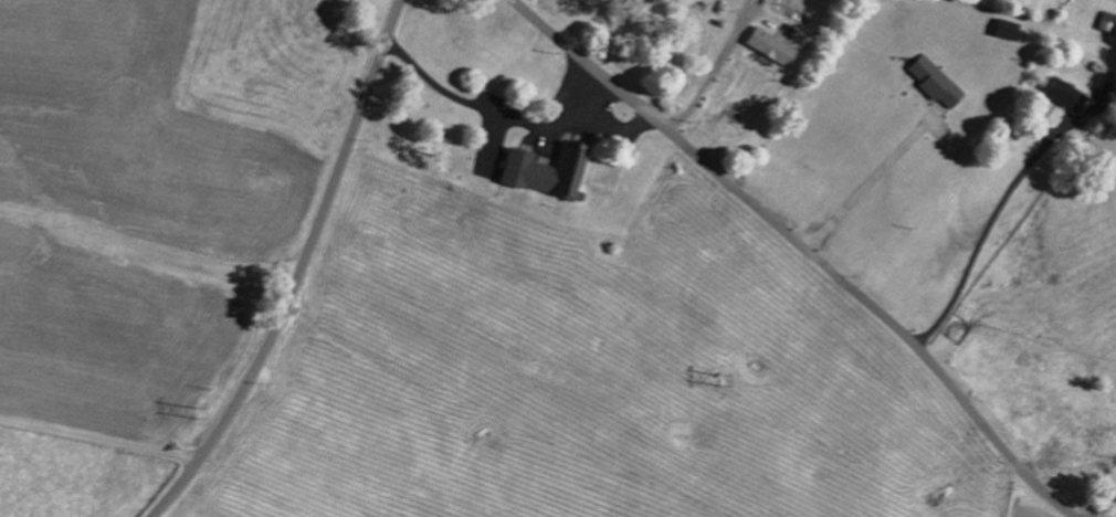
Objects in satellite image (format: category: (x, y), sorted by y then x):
building: (1006, 29)
building: (770, 45)
building: (935, 80)
road: (708, 82)
building: (1064, 94)
road: (492, 108)
road: (611, 129)
park: (606, 168)
building: (545, 170)
road: (872, 181)
road: (330, 193)
road: (981, 245)
road: (808, 249)
power tower: (717, 362)
power tower: (198, 411)
road: (98, 439)
road: (202, 452)

